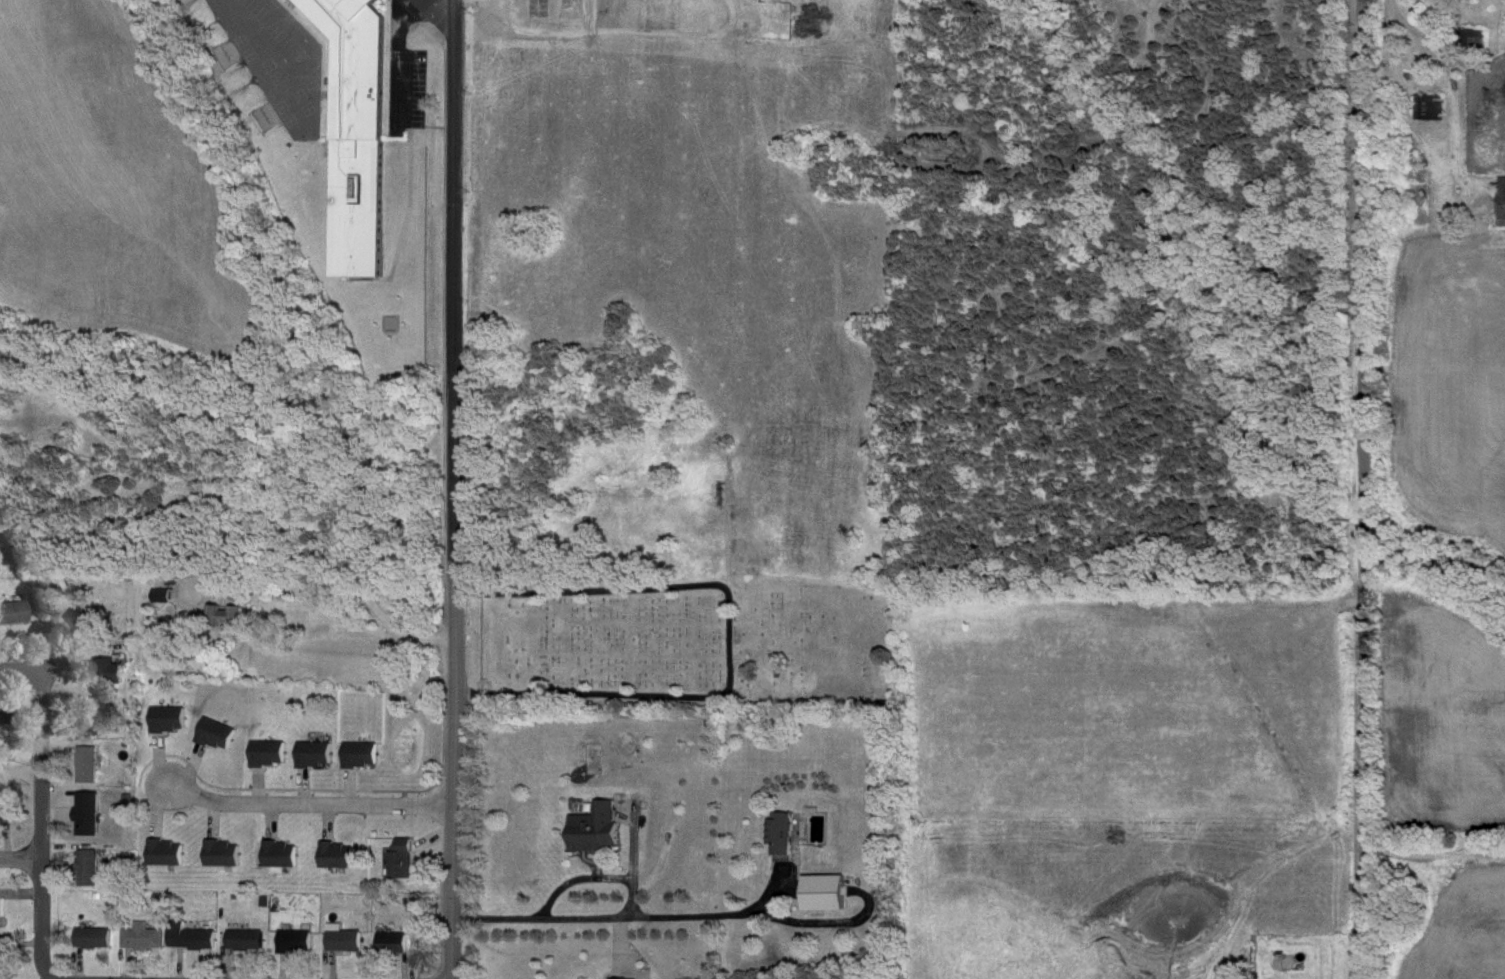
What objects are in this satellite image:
road: (441, 11)
road: (432, 15)
road: (1428, 32)
building: (1480, 38)
road: (1390, 64)
road: (401, 66)
road: (299, 73)
building: (1434, 107)
building: (357, 130)
building: (1504, 204)
road: (454, 489)
road: (1355, 489)
road: (447, 499)
road: (331, 580)
building: (9, 597)
building: (76, 608)
building: (15, 613)
building: (227, 616)
building: (87, 625)
road: (728, 635)
park: (674, 641)
road: (14, 654)
building: (103, 654)
building: (114, 671)
building: (1, 699)
building: (88, 700)
building: (162, 704)
building: (99, 716)
building: (1, 717)
building: (214, 719)
building: (173, 720)
building: (220, 735)
building: (262, 737)
building: (308, 738)
building: (357, 742)
building: (82, 749)
building: (271, 754)
building: (317, 755)
building: (363, 755)
building: (91, 765)
road: (277, 776)
road: (308, 792)
building: (4, 798)
building: (83, 801)
building: (7, 813)
building: (90, 817)
building: (597, 830)
road: (633, 834)
building: (798, 835)
building: (160, 837)
building: (215, 839)
building: (273, 839)
building: (333, 839)
building: (401, 845)
road: (19, 846)
building: (82, 852)
building: (169, 852)
building: (226, 853)
building: (284, 853)
building: (341, 855)
building: (399, 862)
road: (597, 866)
building: (91, 867)
building: (828, 893)
road: (620, 904)
road: (830, 907)
building: (1, 909)
building: (135, 922)
building: (186, 922)
building: (88, 923)
building: (238, 924)
building: (289, 925)
building: (340, 926)
building: (393, 929)
building: (143, 937)
building: (94, 938)
building: (193, 938)
building: (344, 939)
building: (247, 940)
building: (298, 941)
building: (398, 942)
building: (2, 959)
road: (93, 970)
building: (3, 977)
road: (297, 977)
building: (628, 978)

